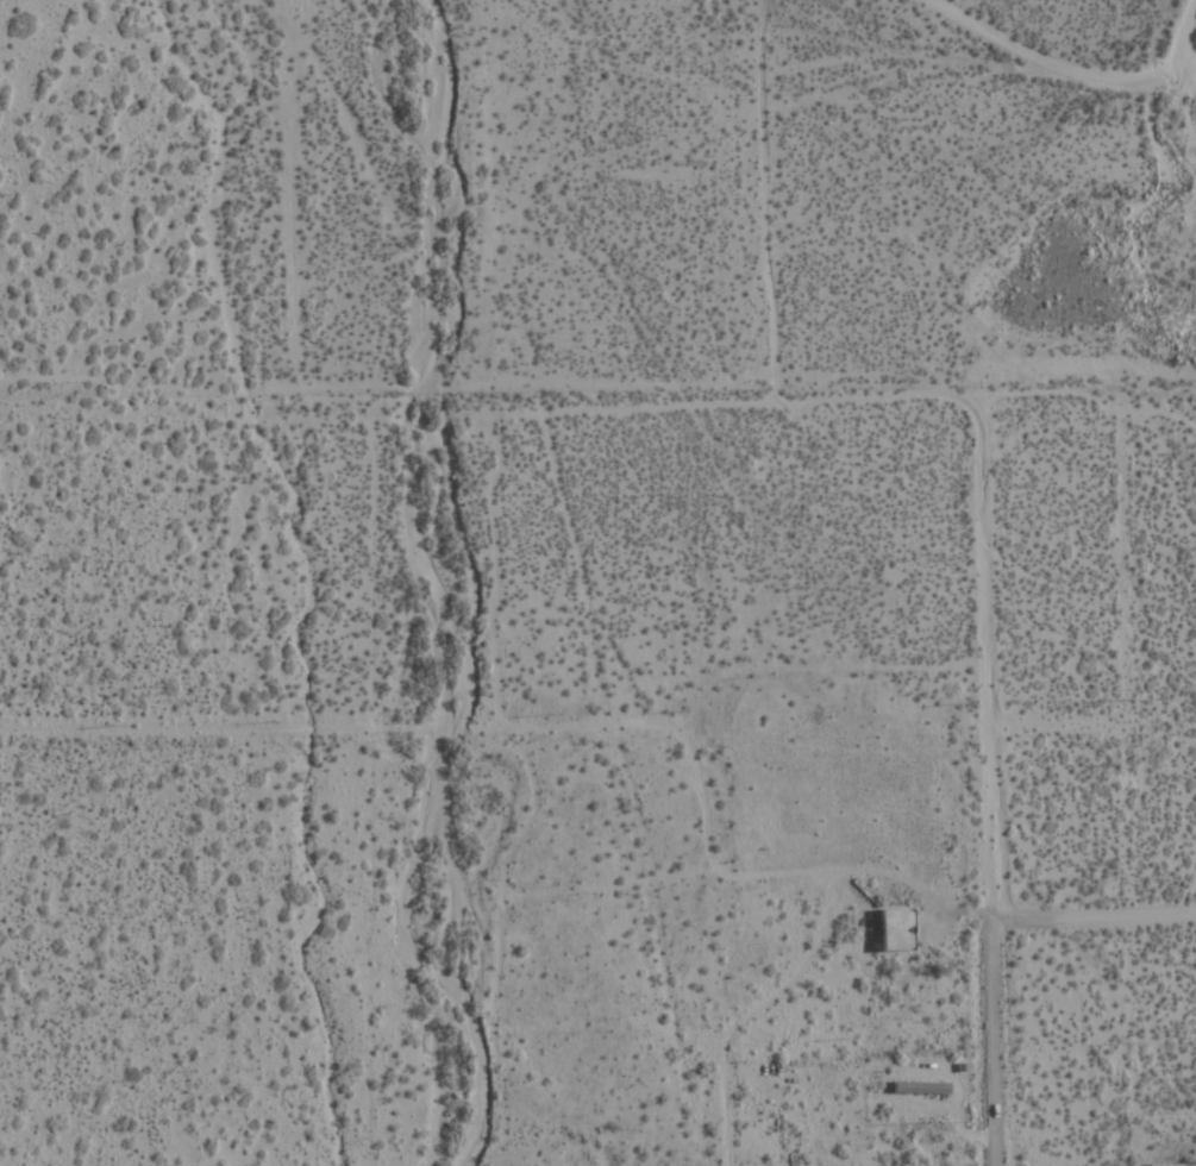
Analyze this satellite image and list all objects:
road: (1181, 40)
road: (1059, 63)
road: (937, 394)
road: (643, 722)
road: (1013, 917)
building: (896, 929)
road: (988, 1042)
building: (921, 1087)

